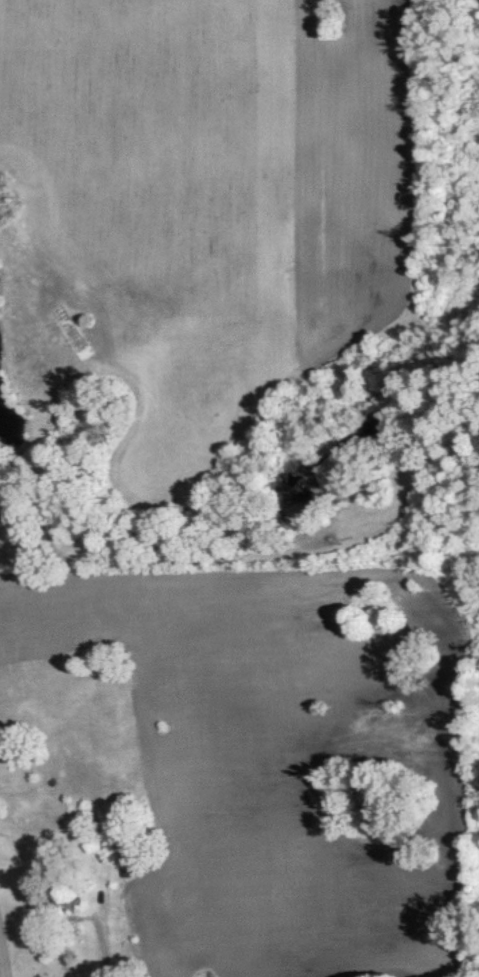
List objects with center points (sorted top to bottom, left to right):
building: (64, 904)
road: (6, 939)

